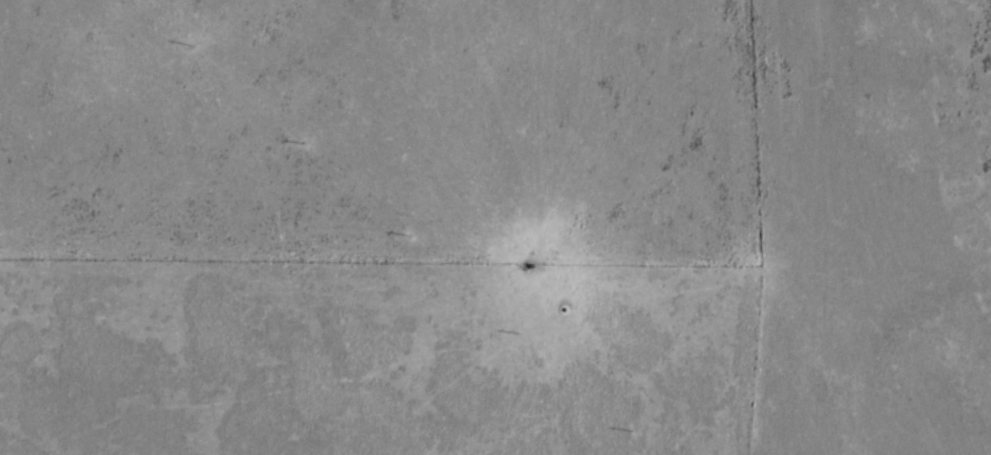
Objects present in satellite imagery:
crop: (868, 225)

